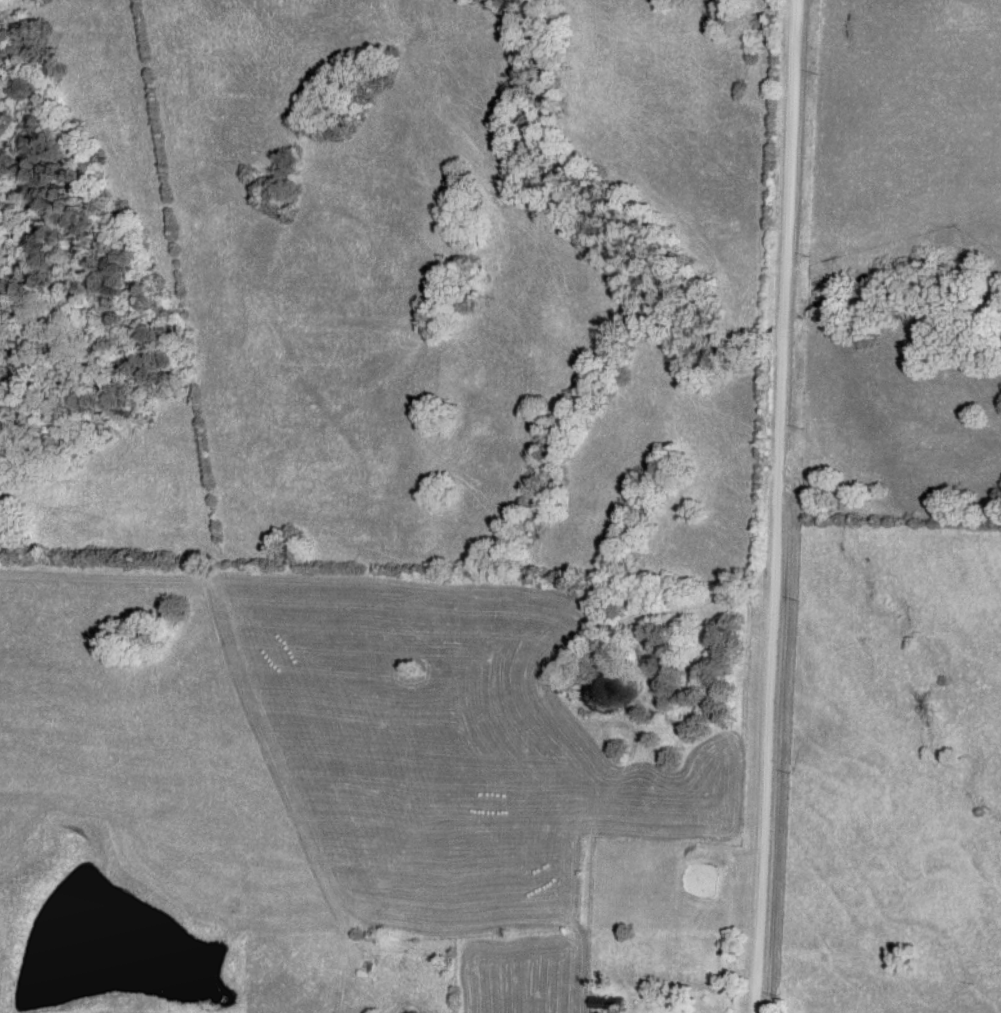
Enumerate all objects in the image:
road: (779, 506)

